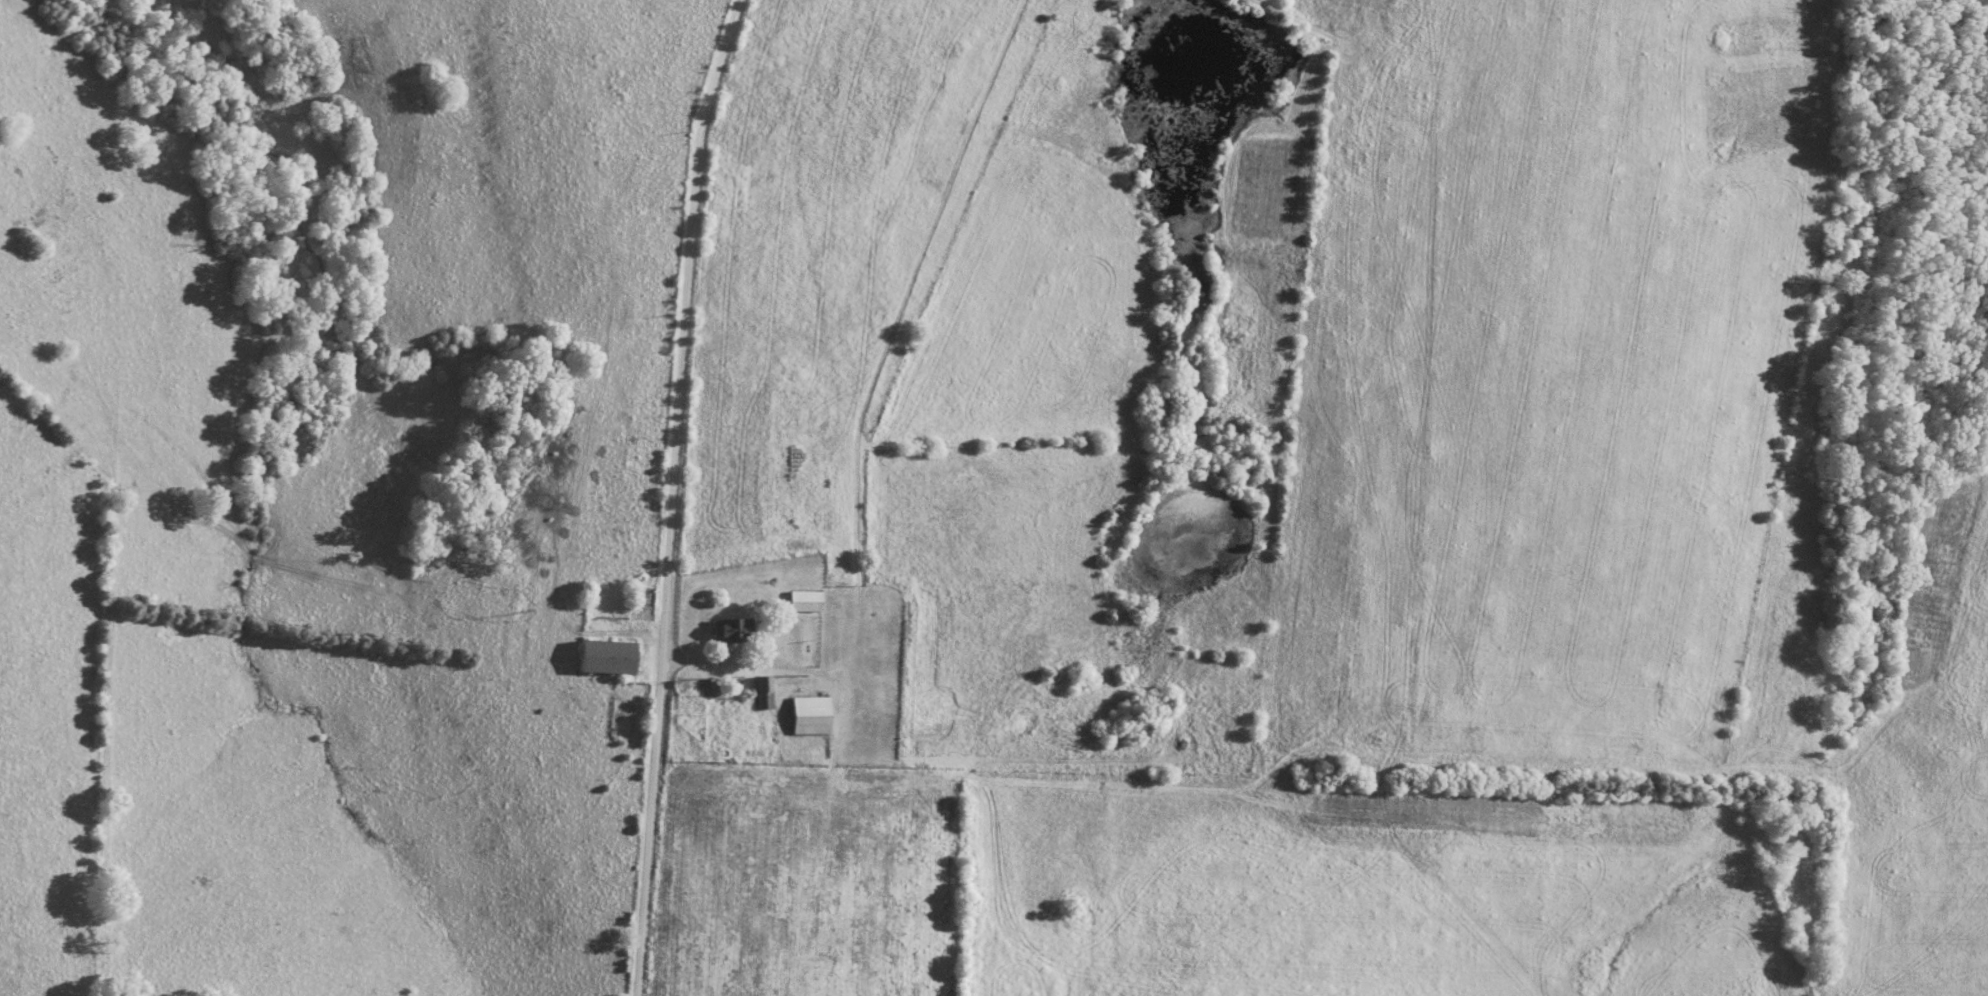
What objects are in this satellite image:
road: (674, 494)
building: (809, 600)
building: (736, 629)
building: (613, 656)
building: (766, 692)
building: (814, 715)

